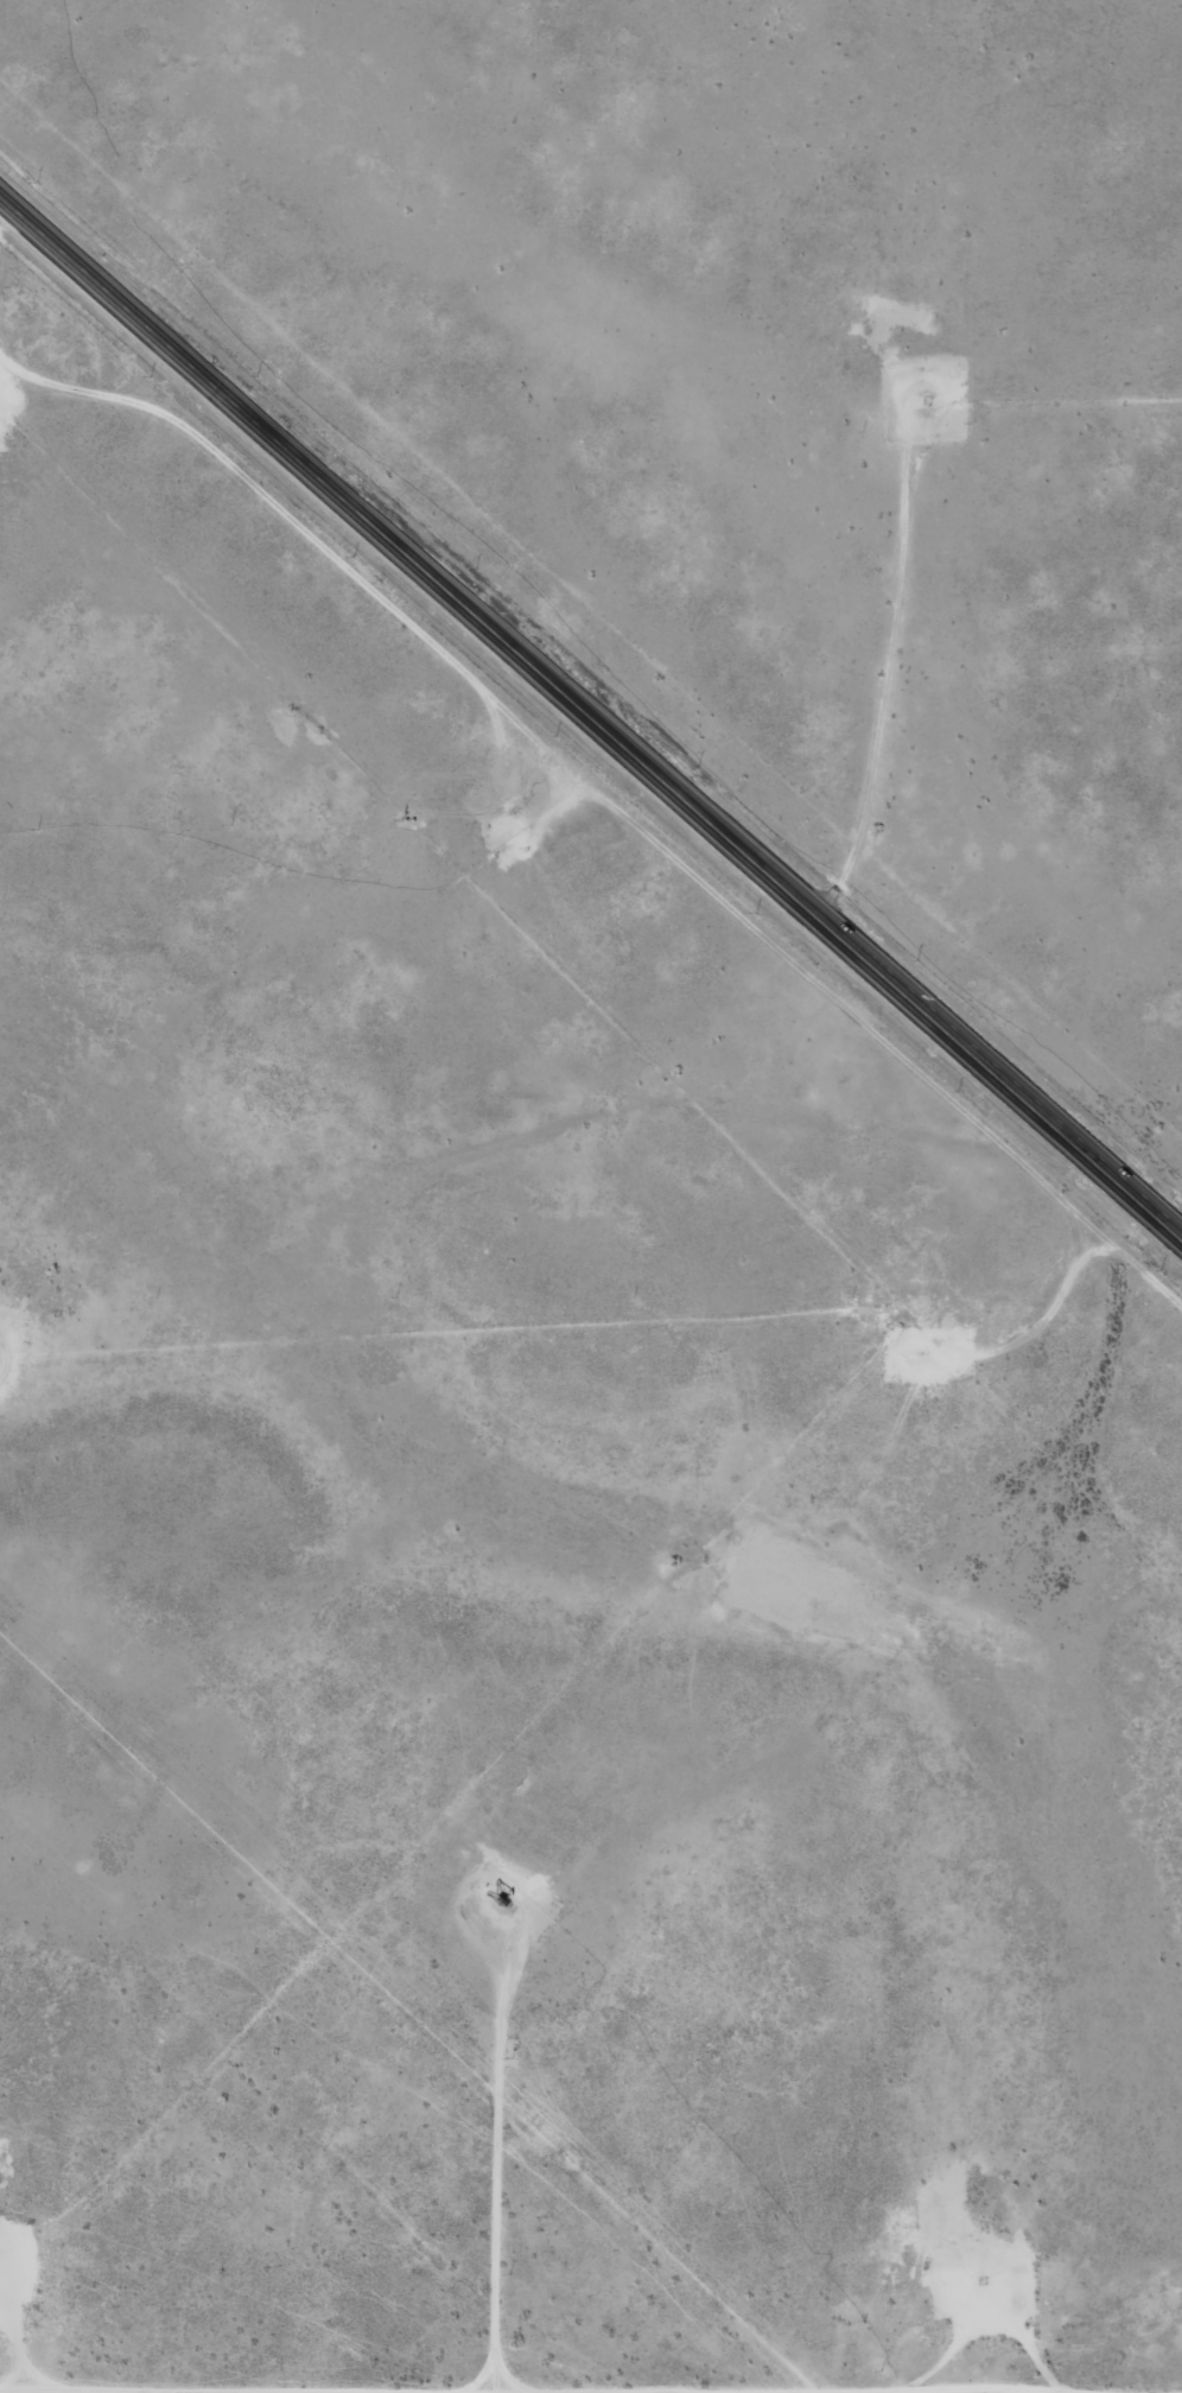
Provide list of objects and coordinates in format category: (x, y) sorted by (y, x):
road: (91, 351)
road: (872, 705)
road: (593, 717)
road: (1067, 1280)
road: (590, 2367)
road: (472, 2380)

